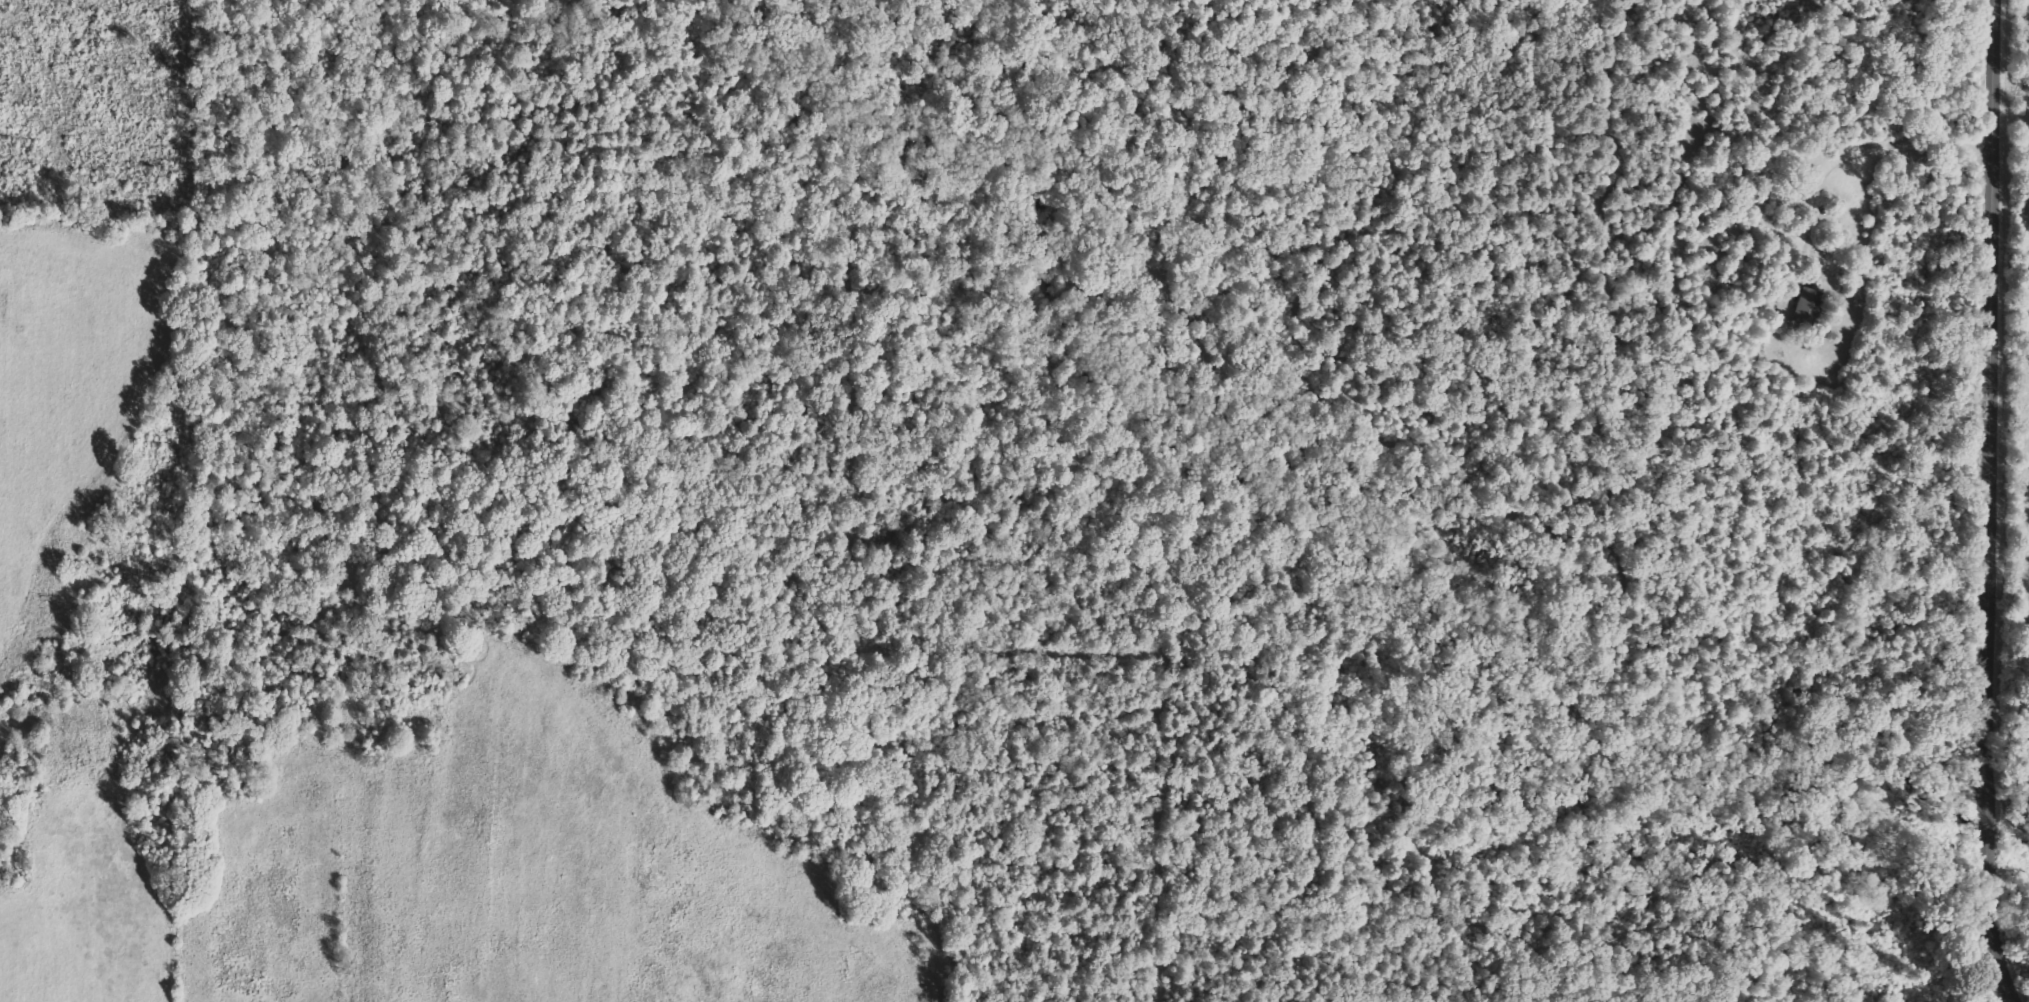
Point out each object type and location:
building: (1809, 305)
road: (1986, 503)

